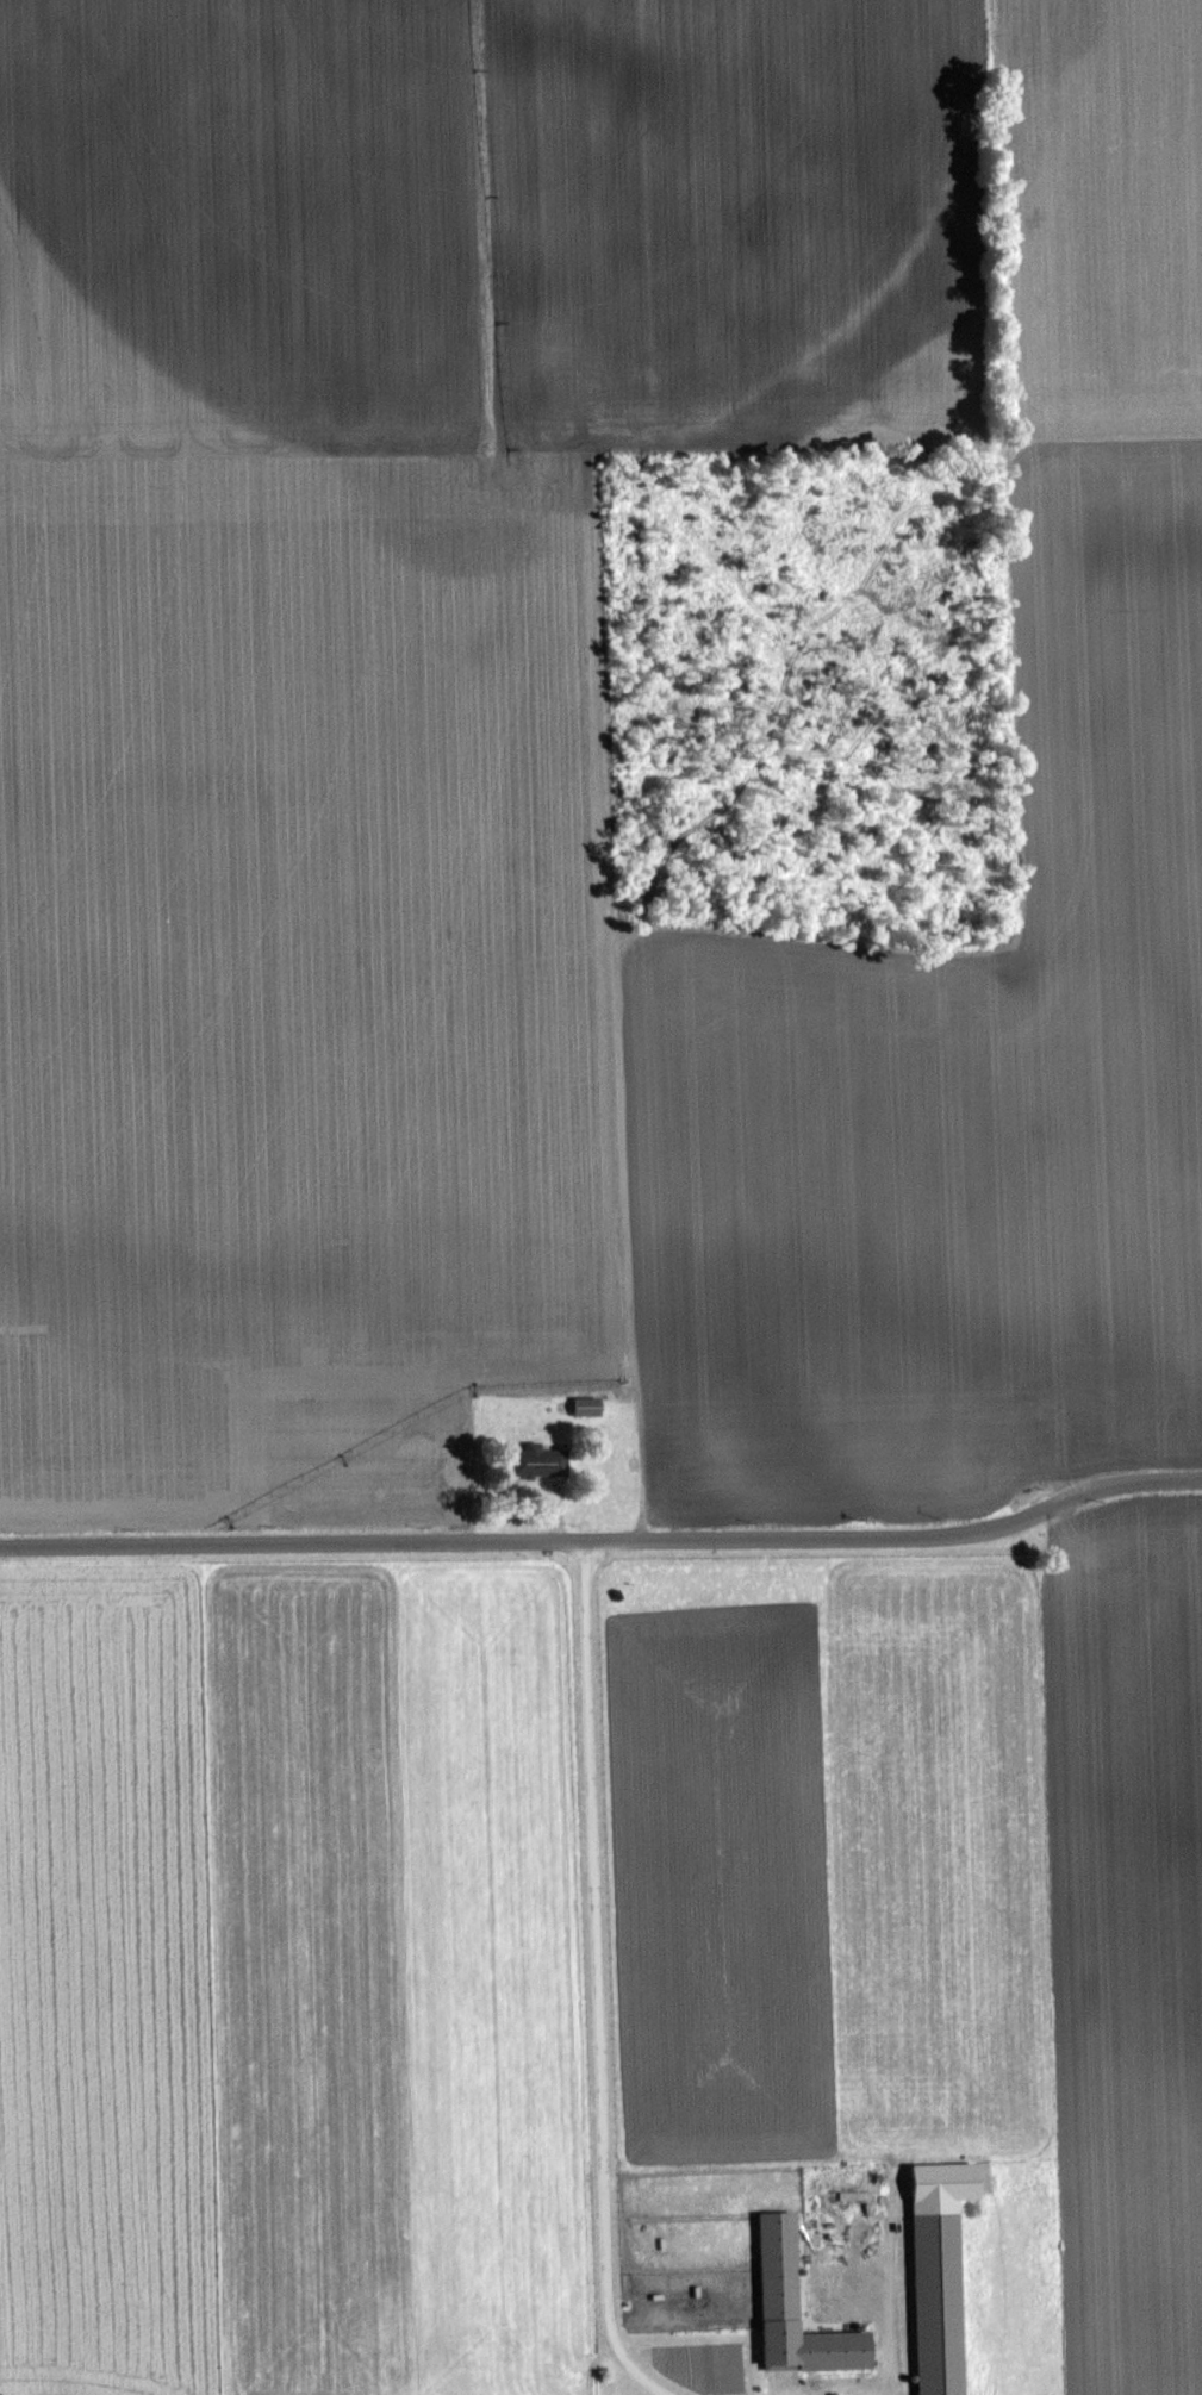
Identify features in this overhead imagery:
building: (584, 1407)
building: (534, 1461)
road: (606, 1534)
road: (600, 1978)
building: (932, 2303)
building: (790, 2310)
road: (883, 2393)

